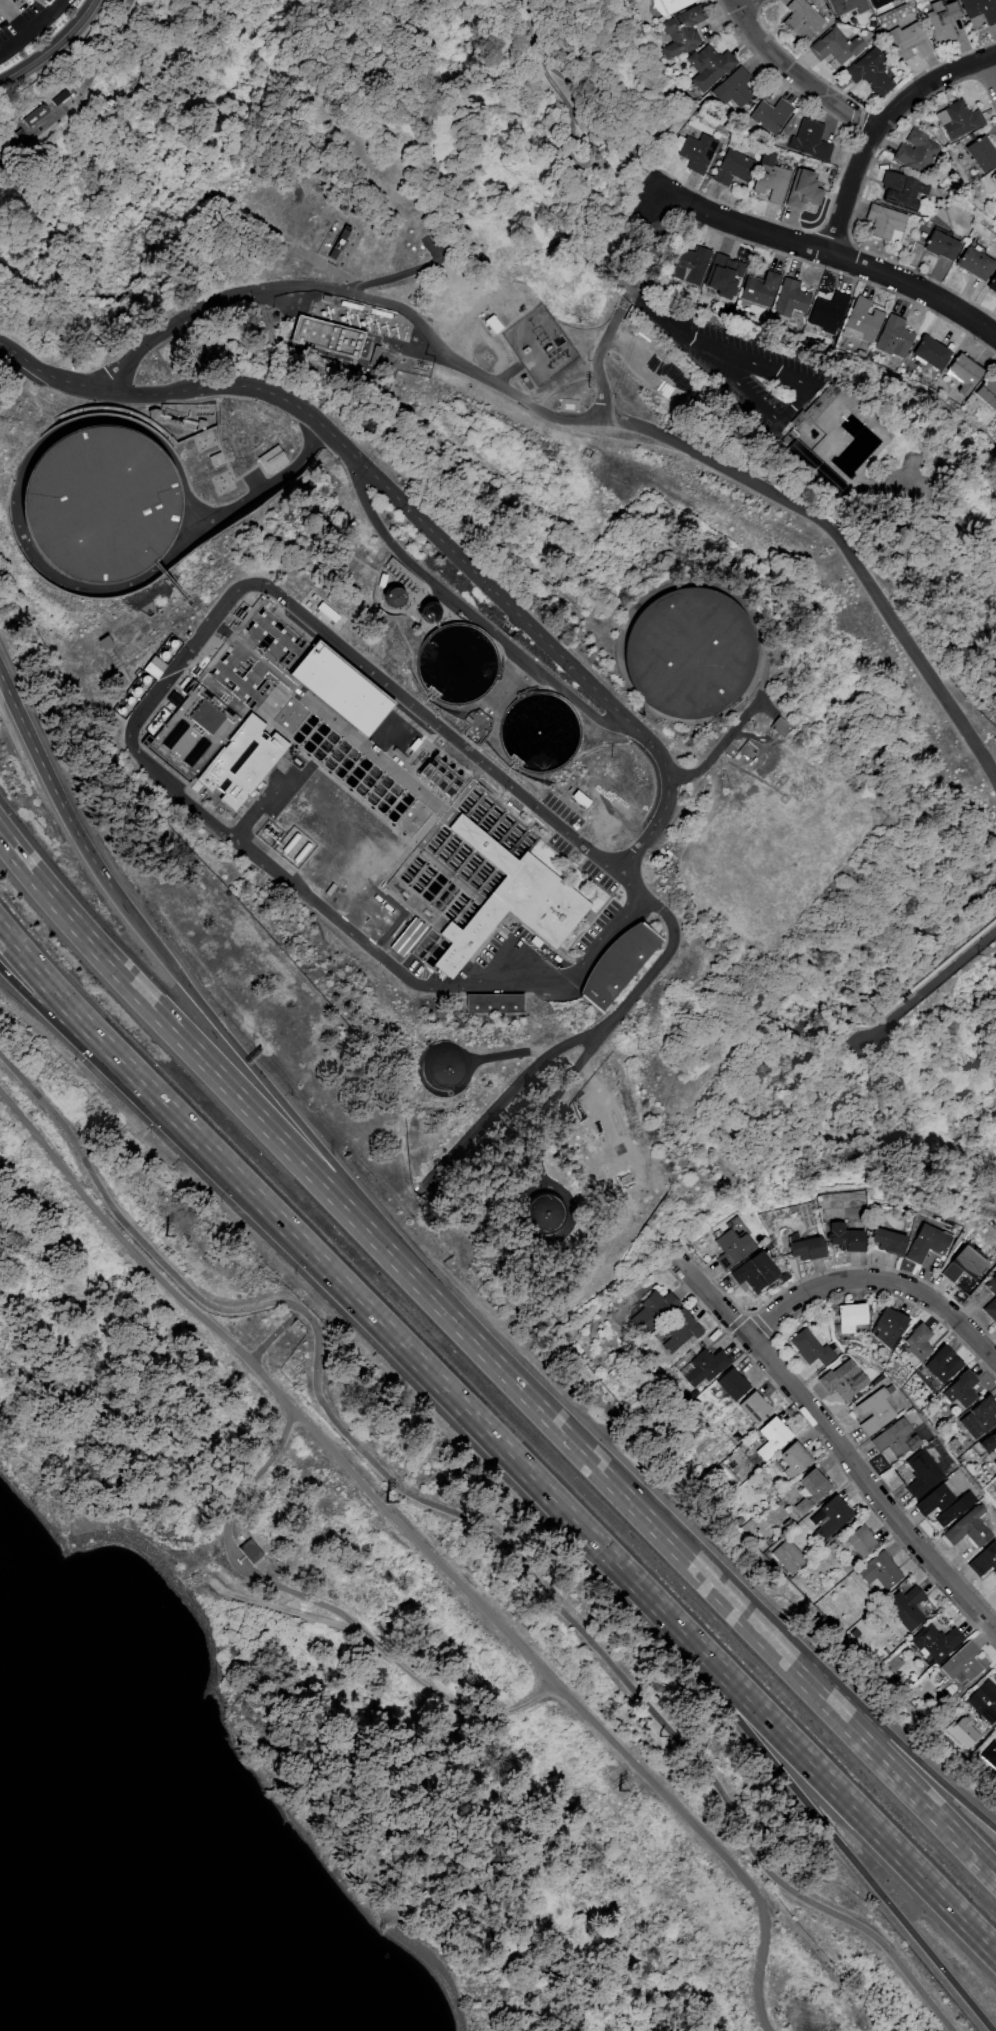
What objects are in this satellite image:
building: (45, 0)
road: (736, 2)
building: (877, 3)
building: (669, 5)
building: (846, 7)
building: (980, 9)
building: (802, 19)
building: (942, 22)
building: (683, 31)
road: (36, 33)
building: (909, 40)
building: (836, 46)
road: (54, 49)
road: (993, 63)
building: (709, 67)
road: (794, 71)
building: (870, 73)
building: (734, 87)
road: (80, 90)
road: (603, 102)
park: (538, 111)
building: (35, 114)
building: (771, 115)
building: (958, 119)
road: (877, 124)
road: (575, 131)
building: (810, 141)
building: (697, 151)
building: (917, 152)
building: (981, 153)
building: (733, 168)
building: (771, 178)
building: (994, 178)
building: (803, 189)
building: (901, 190)
building: (882, 222)
building: (340, 242)
building: (941, 246)
road: (828, 253)
road: (309, 258)
building: (975, 263)
building: (690, 265)
road: (636, 267)
road: (391, 276)
building: (726, 276)
building: (992, 284)
building: (761, 289)
road: (353, 292)
building: (790, 298)
building: (828, 310)
building: (864, 320)
building: (493, 324)
building: (325, 337)
building: (894, 337)
power substation: (537, 344)
road: (599, 350)
building: (930, 352)
building: (964, 372)
building: (987, 394)
building: (824, 396)
road: (796, 401)
road: (153, 437)
building: (271, 460)
road: (261, 491)
building: (98, 503)
road: (845, 546)
road: (169, 582)
building: (392, 596)
storage tank: (392, 596)
building: (427, 611)
storage tank: (427, 611)
road: (205, 615)
road: (470, 615)
building: (689, 652)
road: (578, 671)
building: (339, 687)
wastewater plant: (443, 687)
building: (230, 707)
road: (132, 726)
building: (780, 728)
road: (718, 747)
building: (748, 750)
building: (438, 777)
road: (49, 782)
building: (509, 901)
building: (406, 936)
road: (17, 950)
building: (615, 966)
road: (927, 986)
building: (492, 1003)
road: (454, 1049)
road: (506, 1053)
building: (440, 1067)
storage tank: (440, 1067)
road: (112, 1070)
road: (130, 1070)
road: (221, 1080)
road: (554, 1096)
road: (280, 1101)
road: (556, 1192)
building: (542, 1212)
storage tank: (542, 1212)
power tower: (165, 1236)
building: (844, 1237)
building: (888, 1242)
building: (926, 1244)
building: (732, 1248)
building: (806, 1249)
building: (961, 1264)
building: (755, 1273)
road: (877, 1282)
building: (991, 1299)
building: (653, 1309)
building: (851, 1317)
building: (888, 1328)
building: (678, 1331)
road: (270, 1341)
building: (918, 1344)
building: (811, 1349)
building: (943, 1364)
building: (704, 1368)
road: (433, 1378)
building: (843, 1381)
building: (733, 1384)
building: (961, 1390)
building: (755, 1407)
building: (874, 1411)
building: (980, 1418)
building: (773, 1437)
building: (896, 1440)
building: (989, 1443)
road: (839, 1445)
building: (795, 1459)
building: (995, 1461)
road: (592, 1462)
building: (922, 1473)
building: (810, 1491)
power tower: (385, 1502)
building: (944, 1502)
building: (833, 1517)
road: (461, 1523)
building: (969, 1528)
building: (861, 1540)
road: (228, 1546)
road: (422, 1547)
building: (248, 1552)
building: (789, 1557)
building: (984, 1562)
building: (880, 1571)
building: (907, 1606)
building: (937, 1641)
road: (393, 1656)
building: (962, 1664)
building: (984, 1701)
road: (864, 1715)
road: (864, 1741)
road: (817, 1770)
power tower: (618, 1790)
road: (812, 1811)

